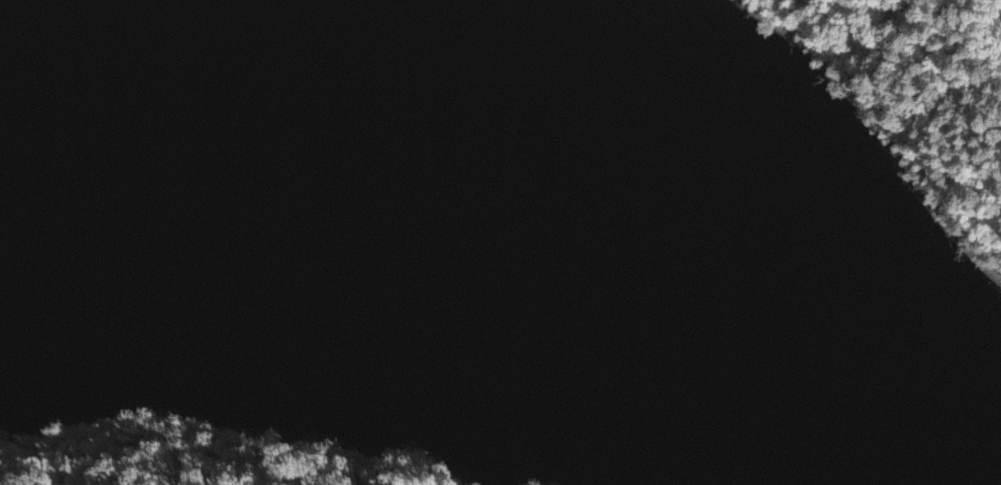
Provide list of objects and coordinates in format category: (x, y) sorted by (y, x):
river: (488, 206)

